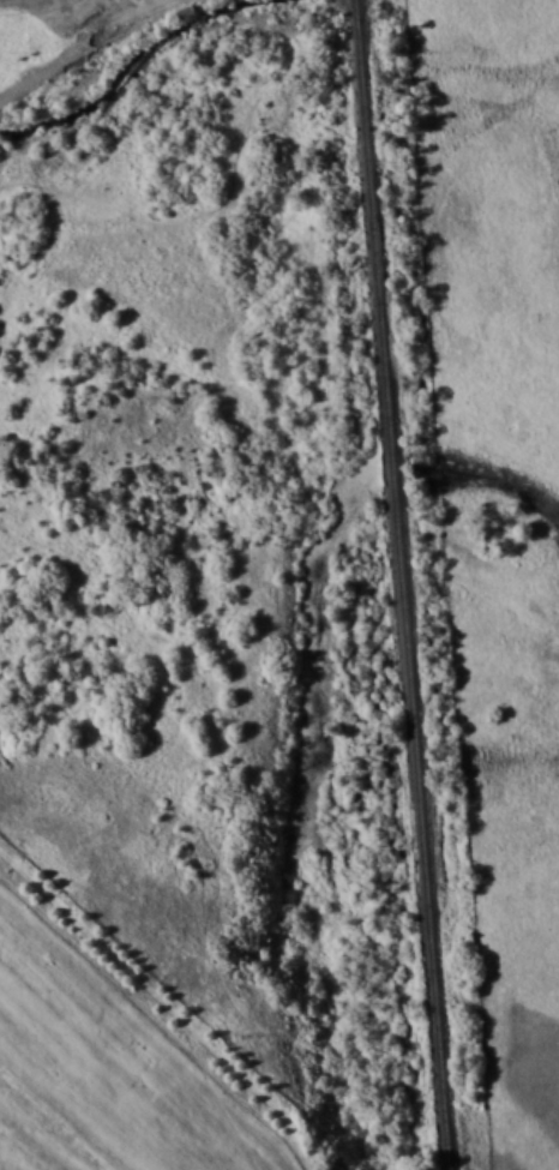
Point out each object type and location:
railway: (401, 584)

